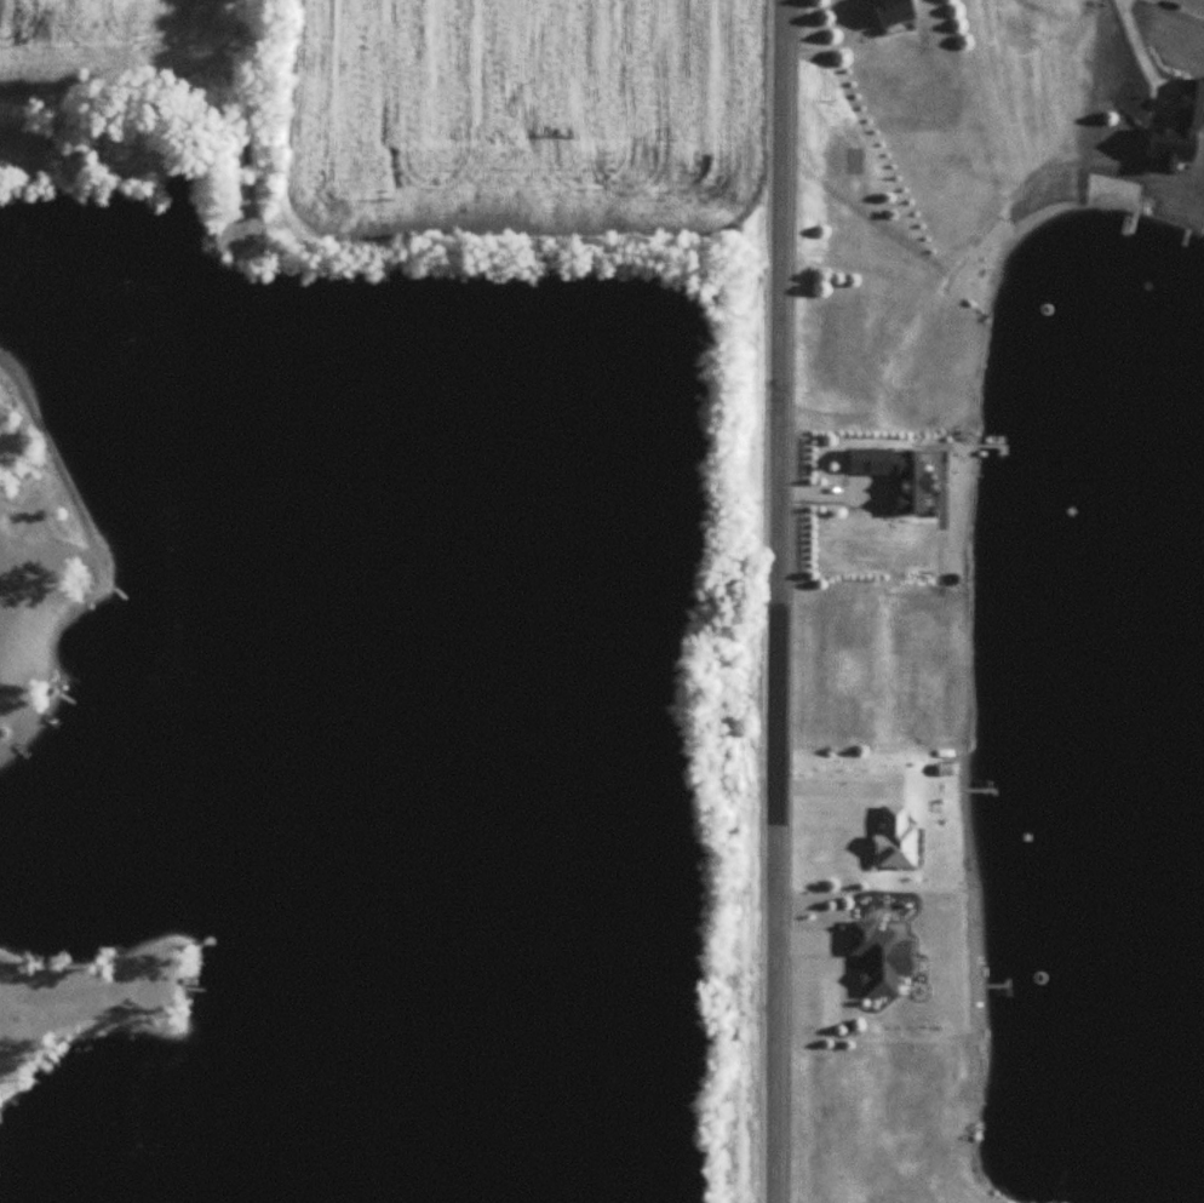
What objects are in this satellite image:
road: (1199, 1)
road: (27, 127)
road: (779, 601)

